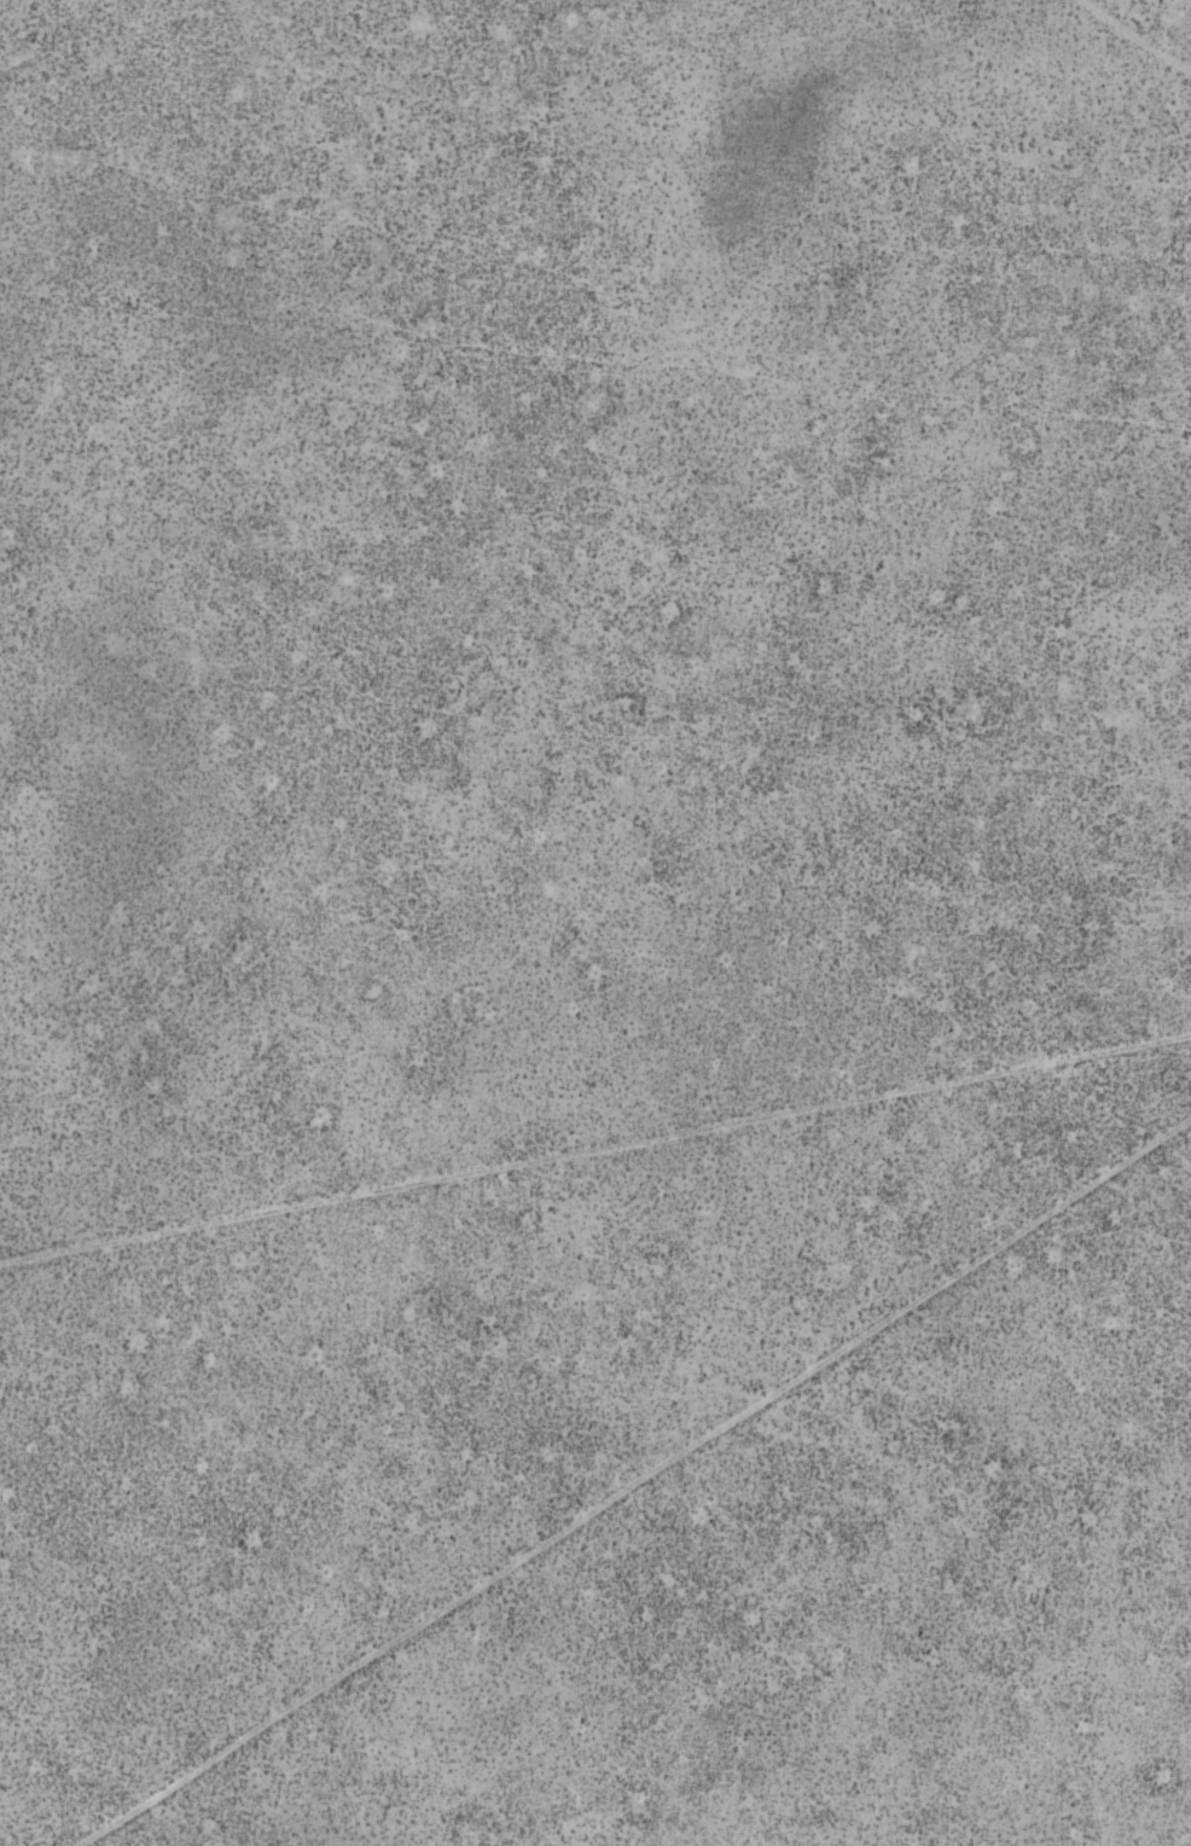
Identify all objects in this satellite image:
road: (595, 1195)
road: (661, 1505)

